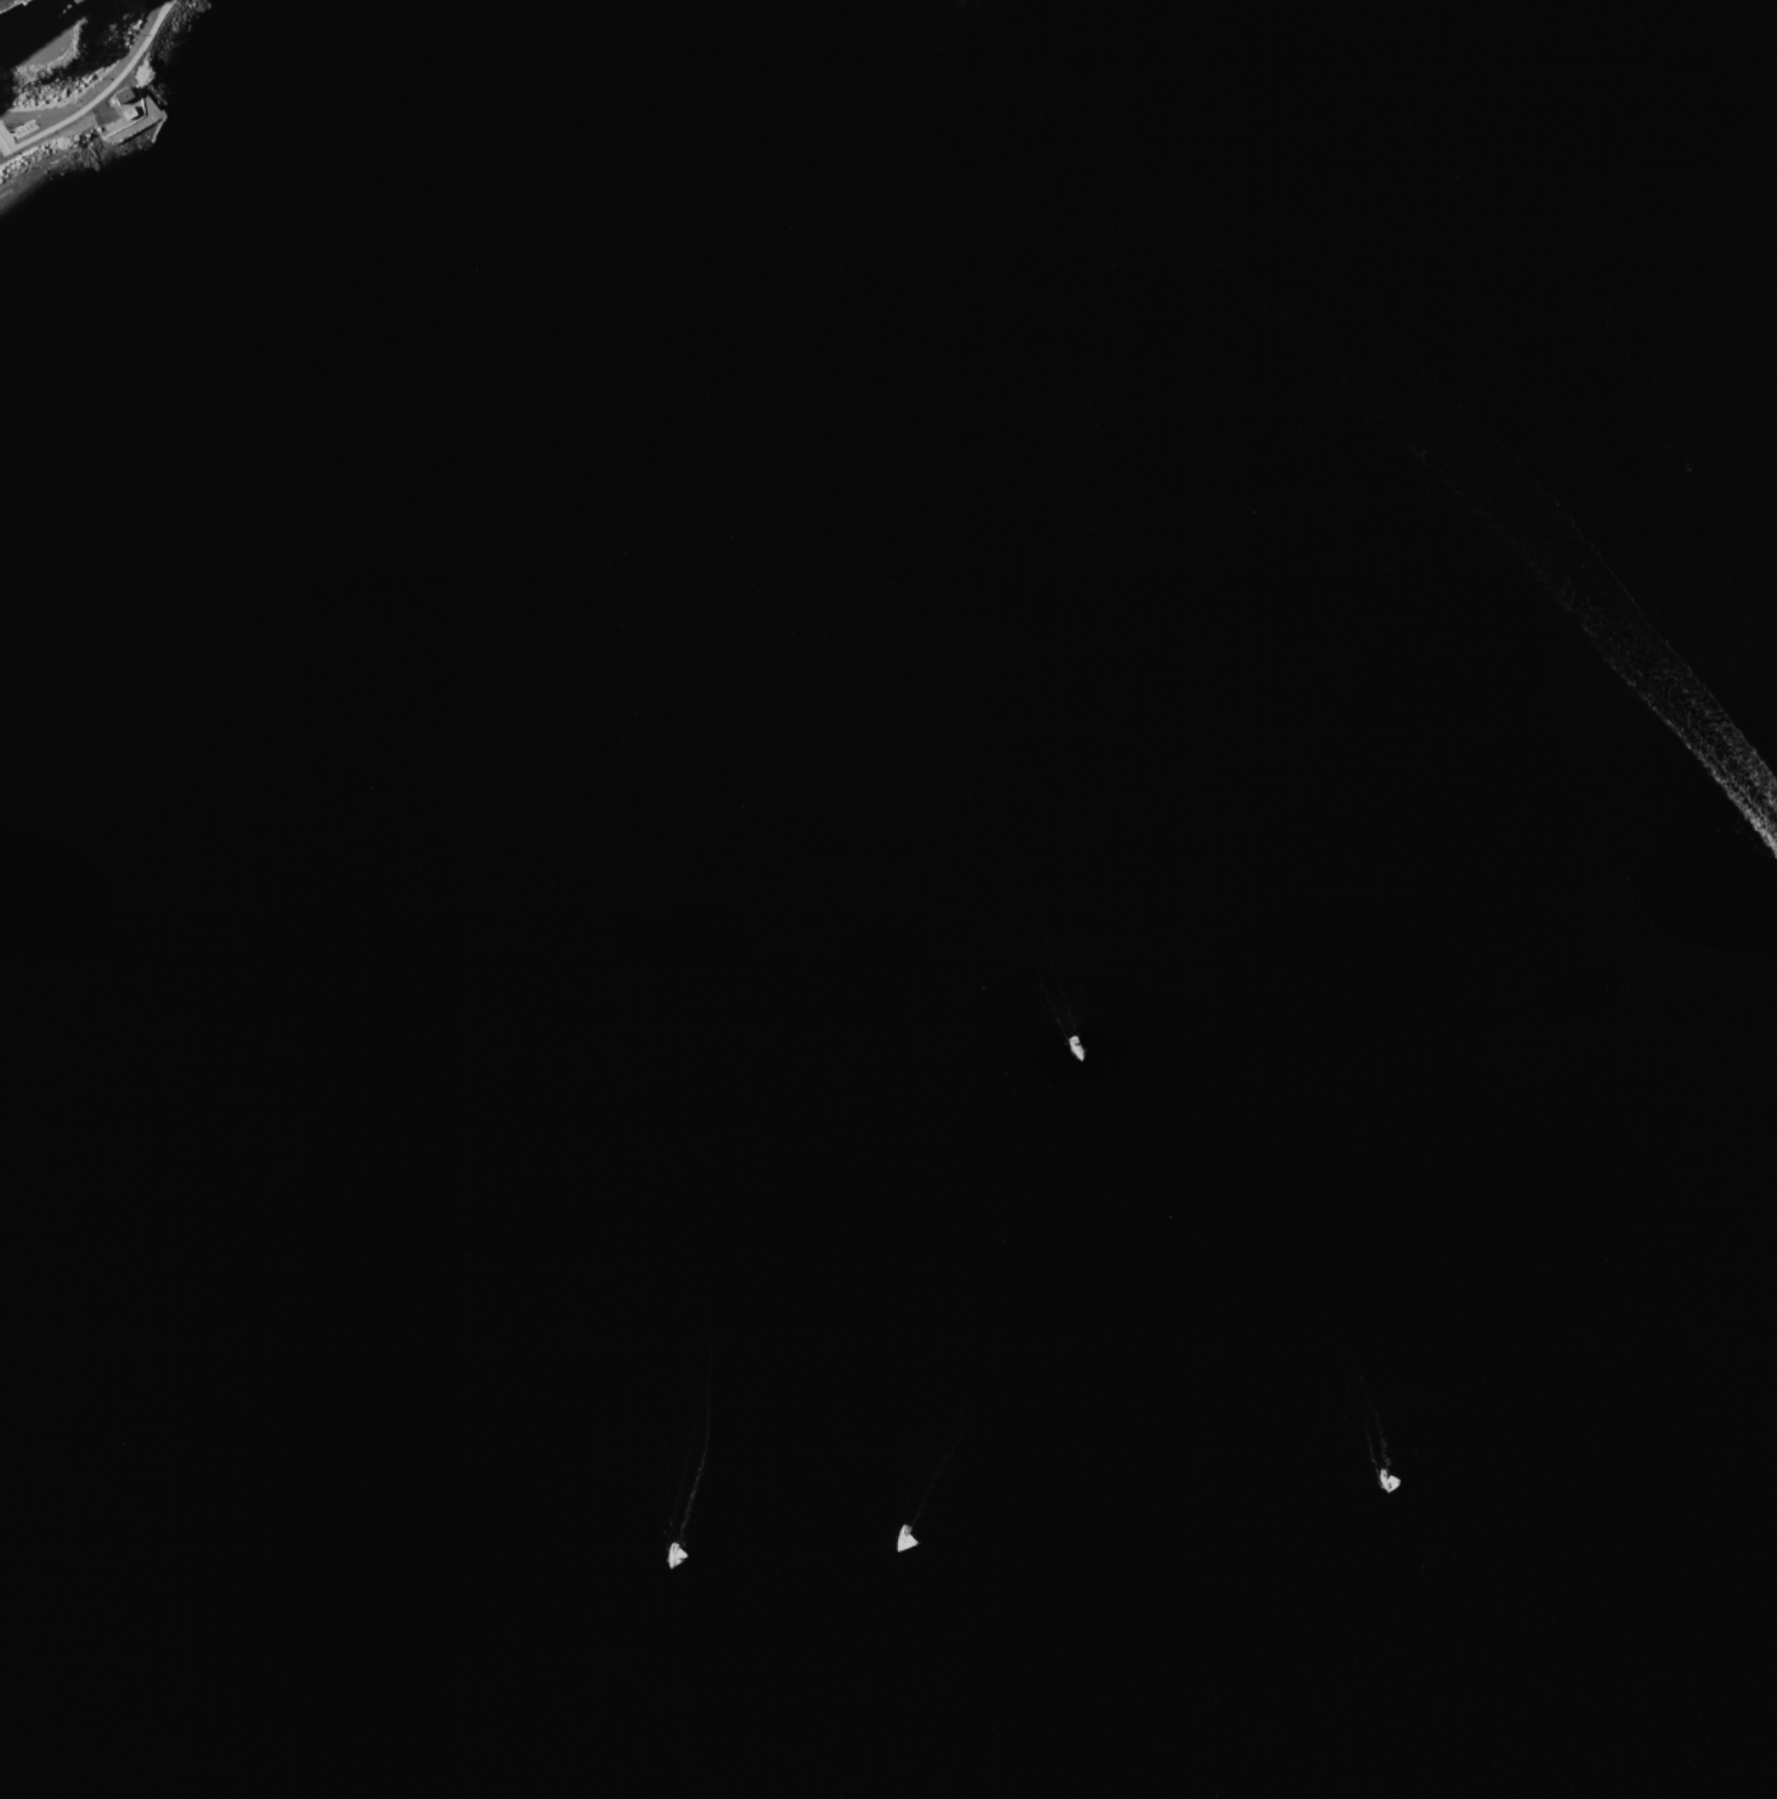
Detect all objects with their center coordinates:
road: (1, 0)
road: (165, 1)
road: (104, 86)
building: (127, 95)
building: (133, 113)
parking lot: (5, 146)

